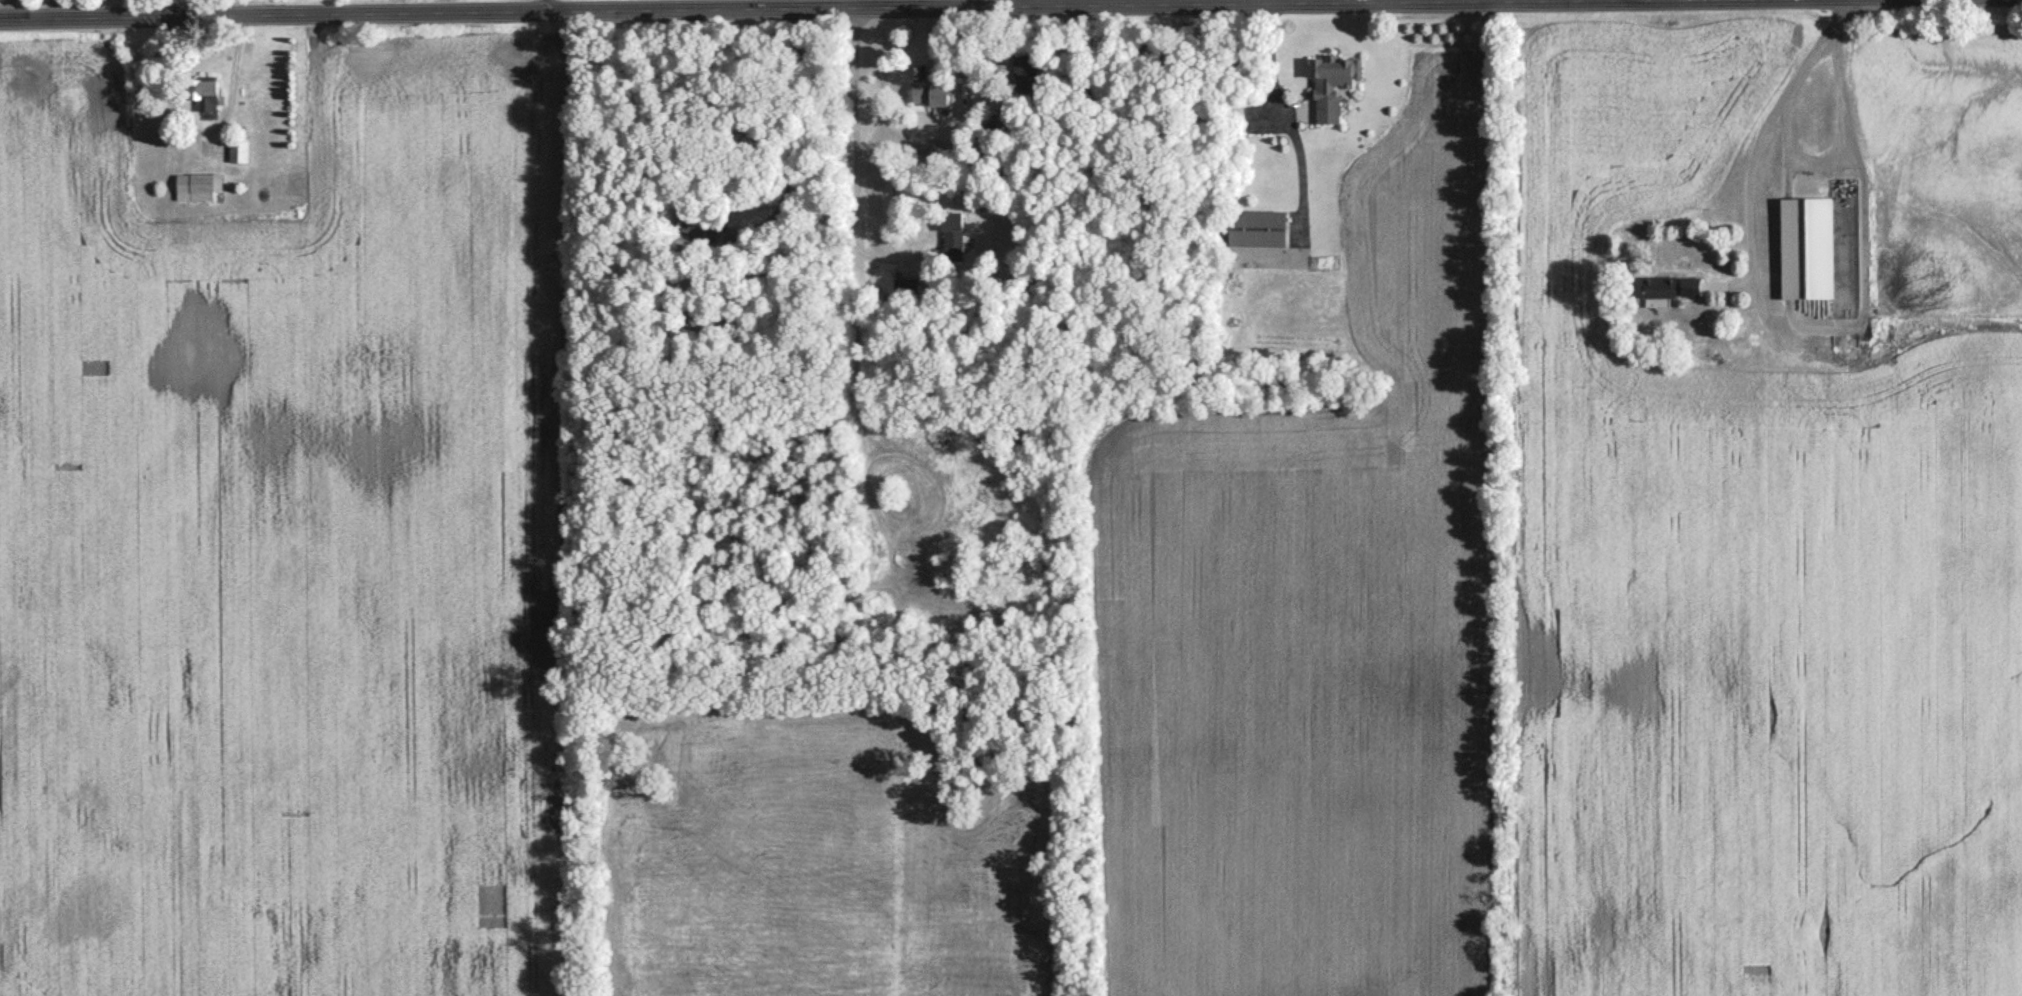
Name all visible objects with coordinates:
road: (807, 9)
building: (1332, 92)
building: (931, 97)
building: (209, 99)
road: (1770, 130)
road: (786, 132)
road: (1849, 149)
road: (850, 154)
building: (240, 155)
building: (208, 191)
building: (1260, 233)
building: (950, 245)
building: (1809, 254)
building: (1672, 295)
building: (871, 545)

